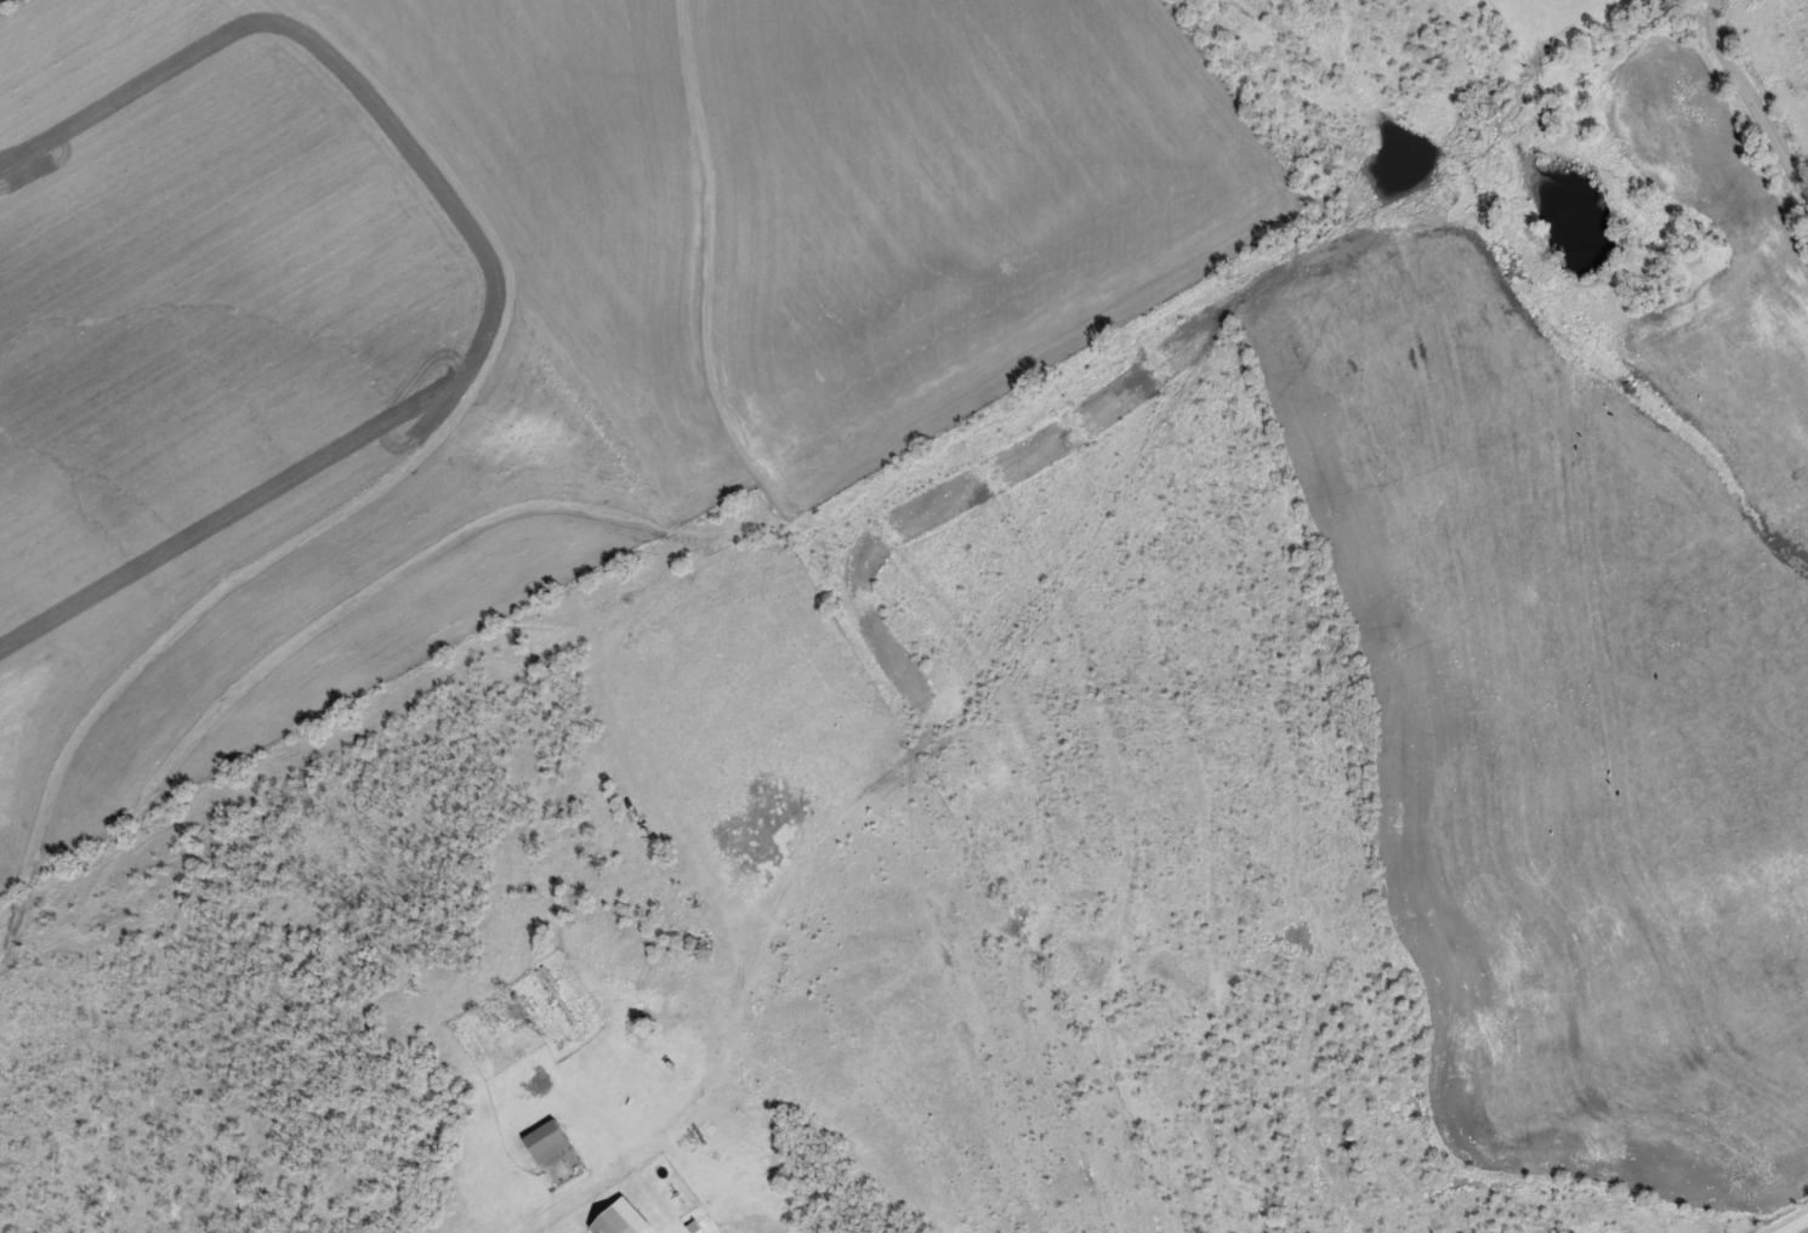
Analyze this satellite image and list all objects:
road: (1749, 104)
building: (1704, 749)
building: (548, 1140)
building: (625, 1214)
road: (1784, 1218)

